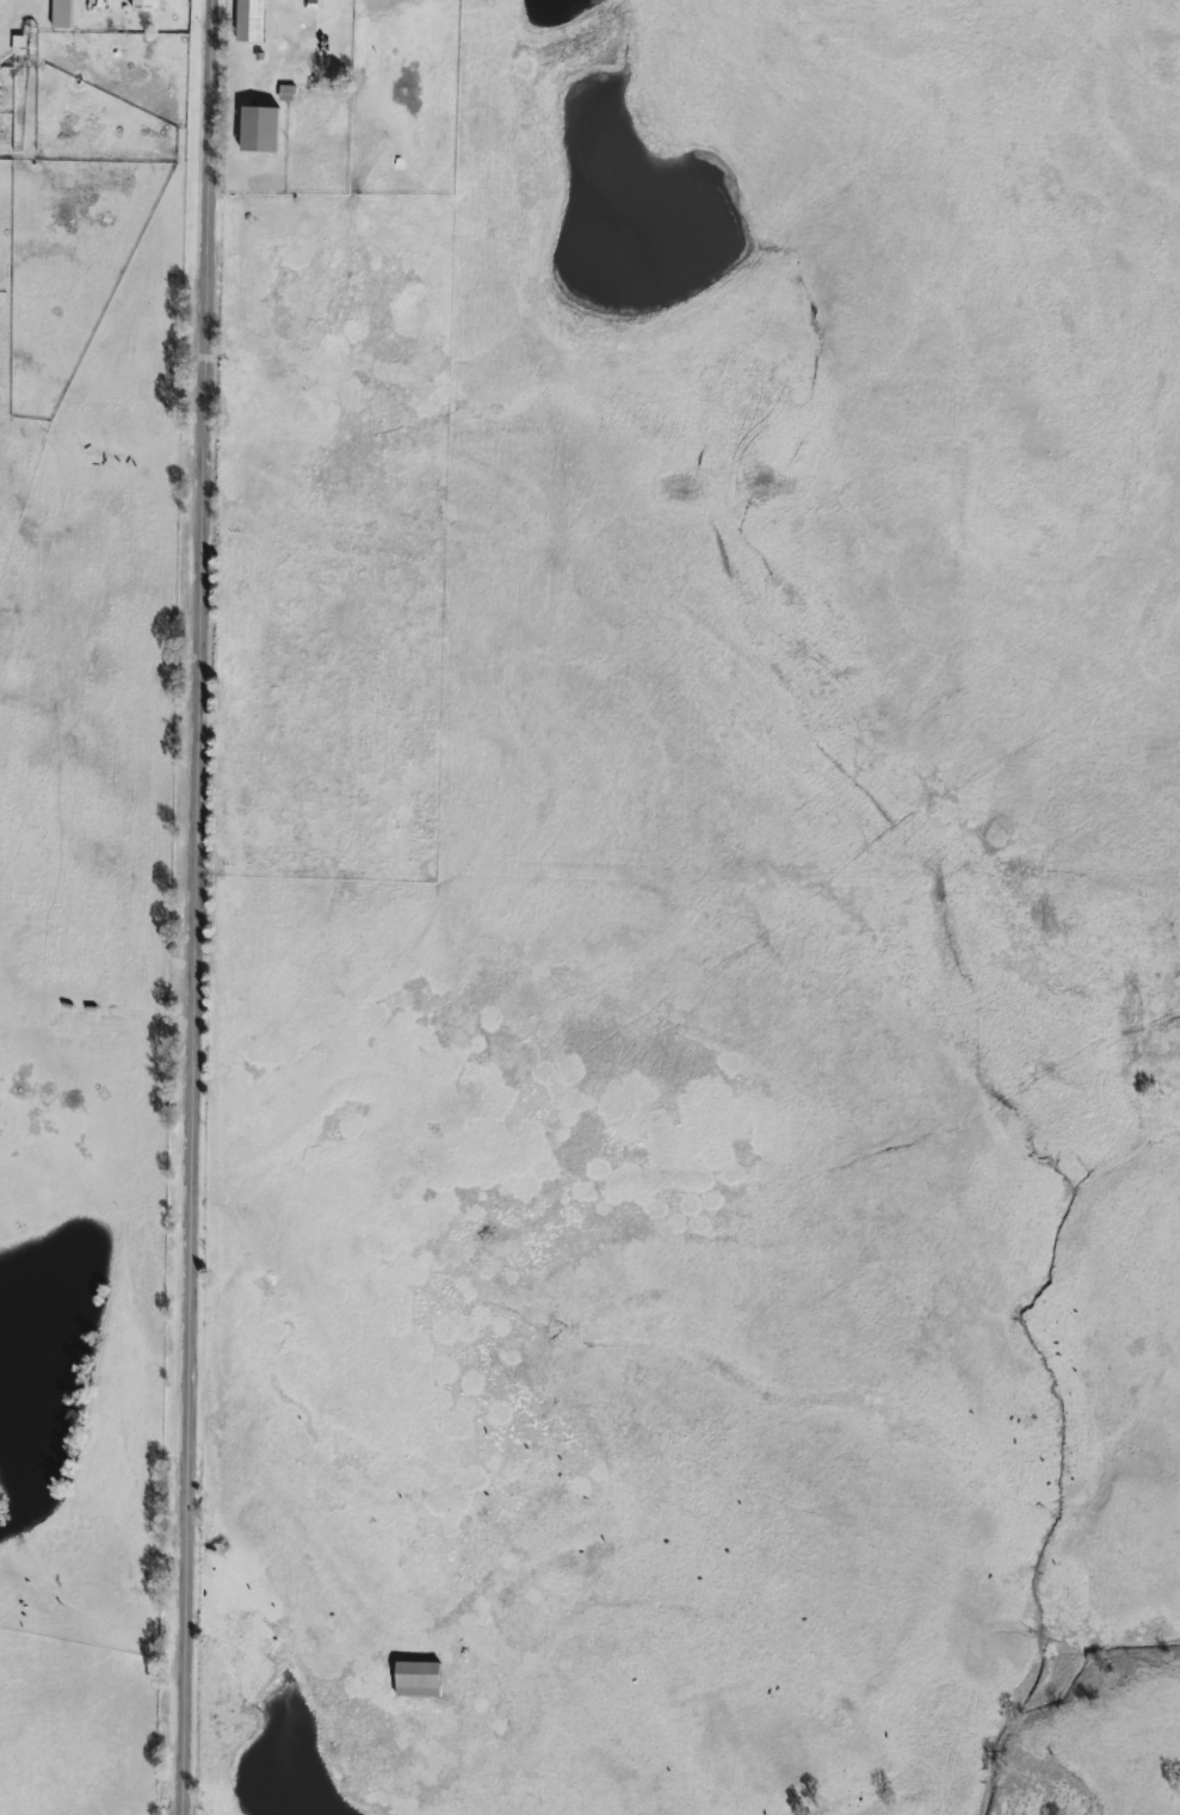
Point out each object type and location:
building: (141, 5)
building: (61, 14)
building: (247, 20)
building: (255, 129)
road: (205, 907)
building: (413, 1678)

